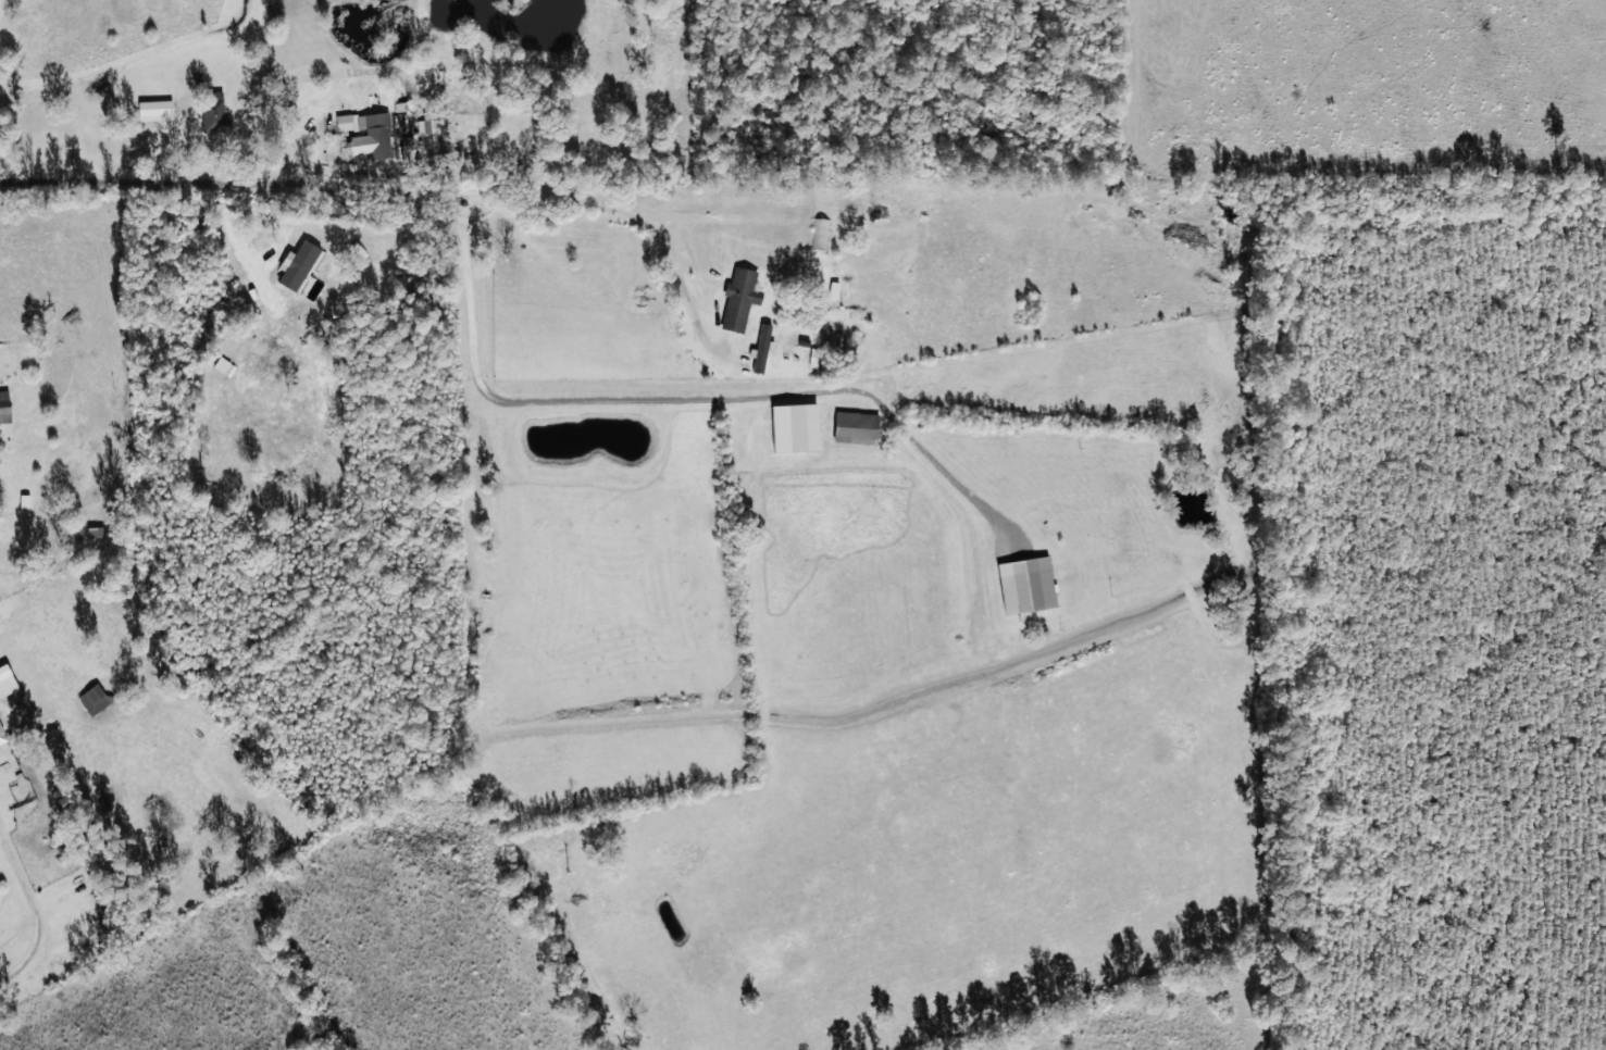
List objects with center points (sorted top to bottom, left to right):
building: (154, 110)
building: (214, 112)
building: (344, 122)
building: (427, 123)
building: (370, 137)
road: (353, 196)
building: (739, 298)
building: (761, 348)
building: (4, 408)
building: (794, 427)
building: (856, 428)
building: (1025, 586)
building: (94, 699)
building: (2, 735)
road: (14, 768)

